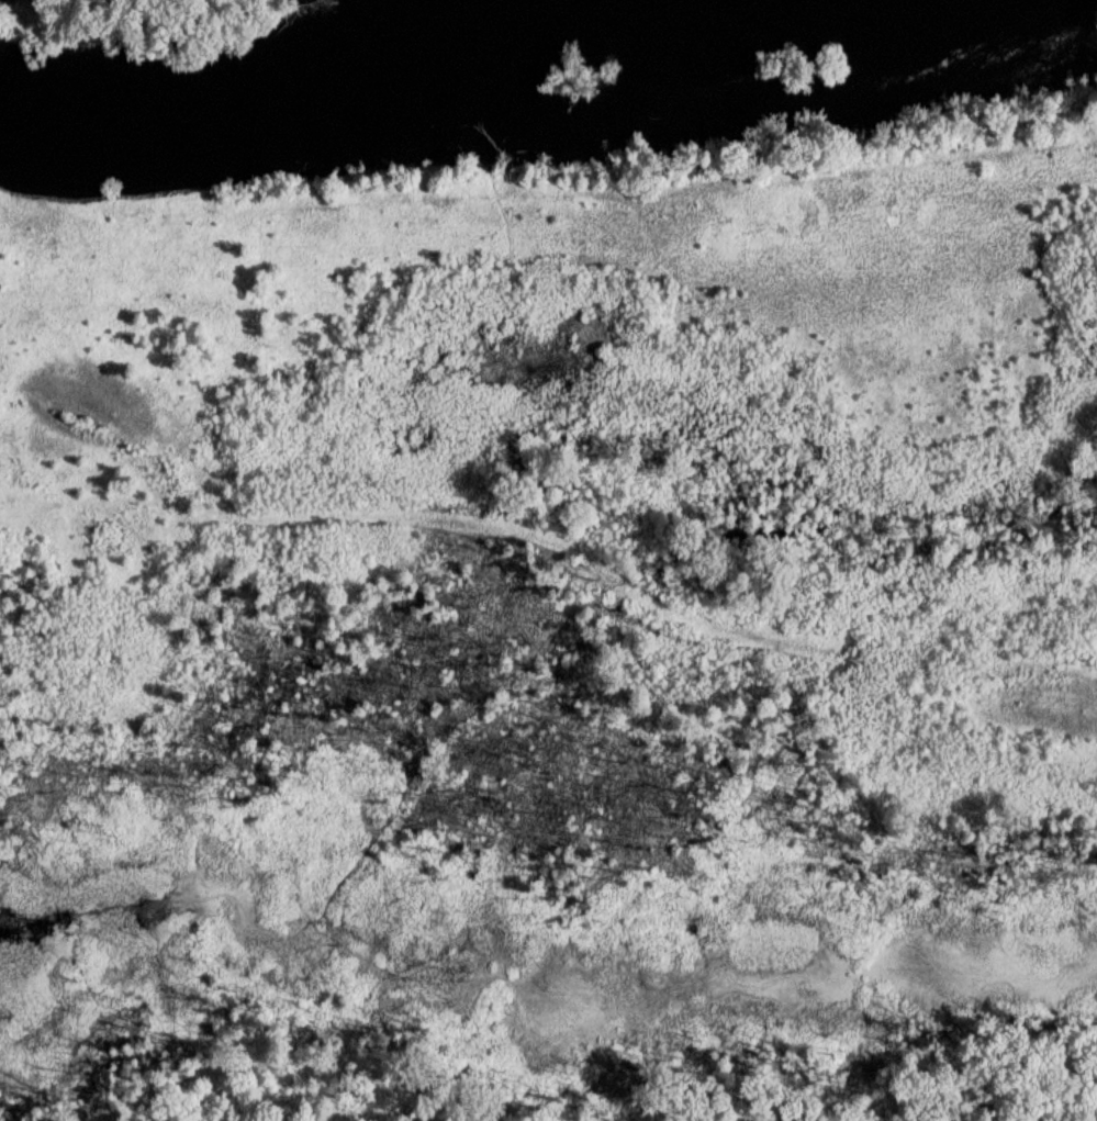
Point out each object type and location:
river: (422, 77)

